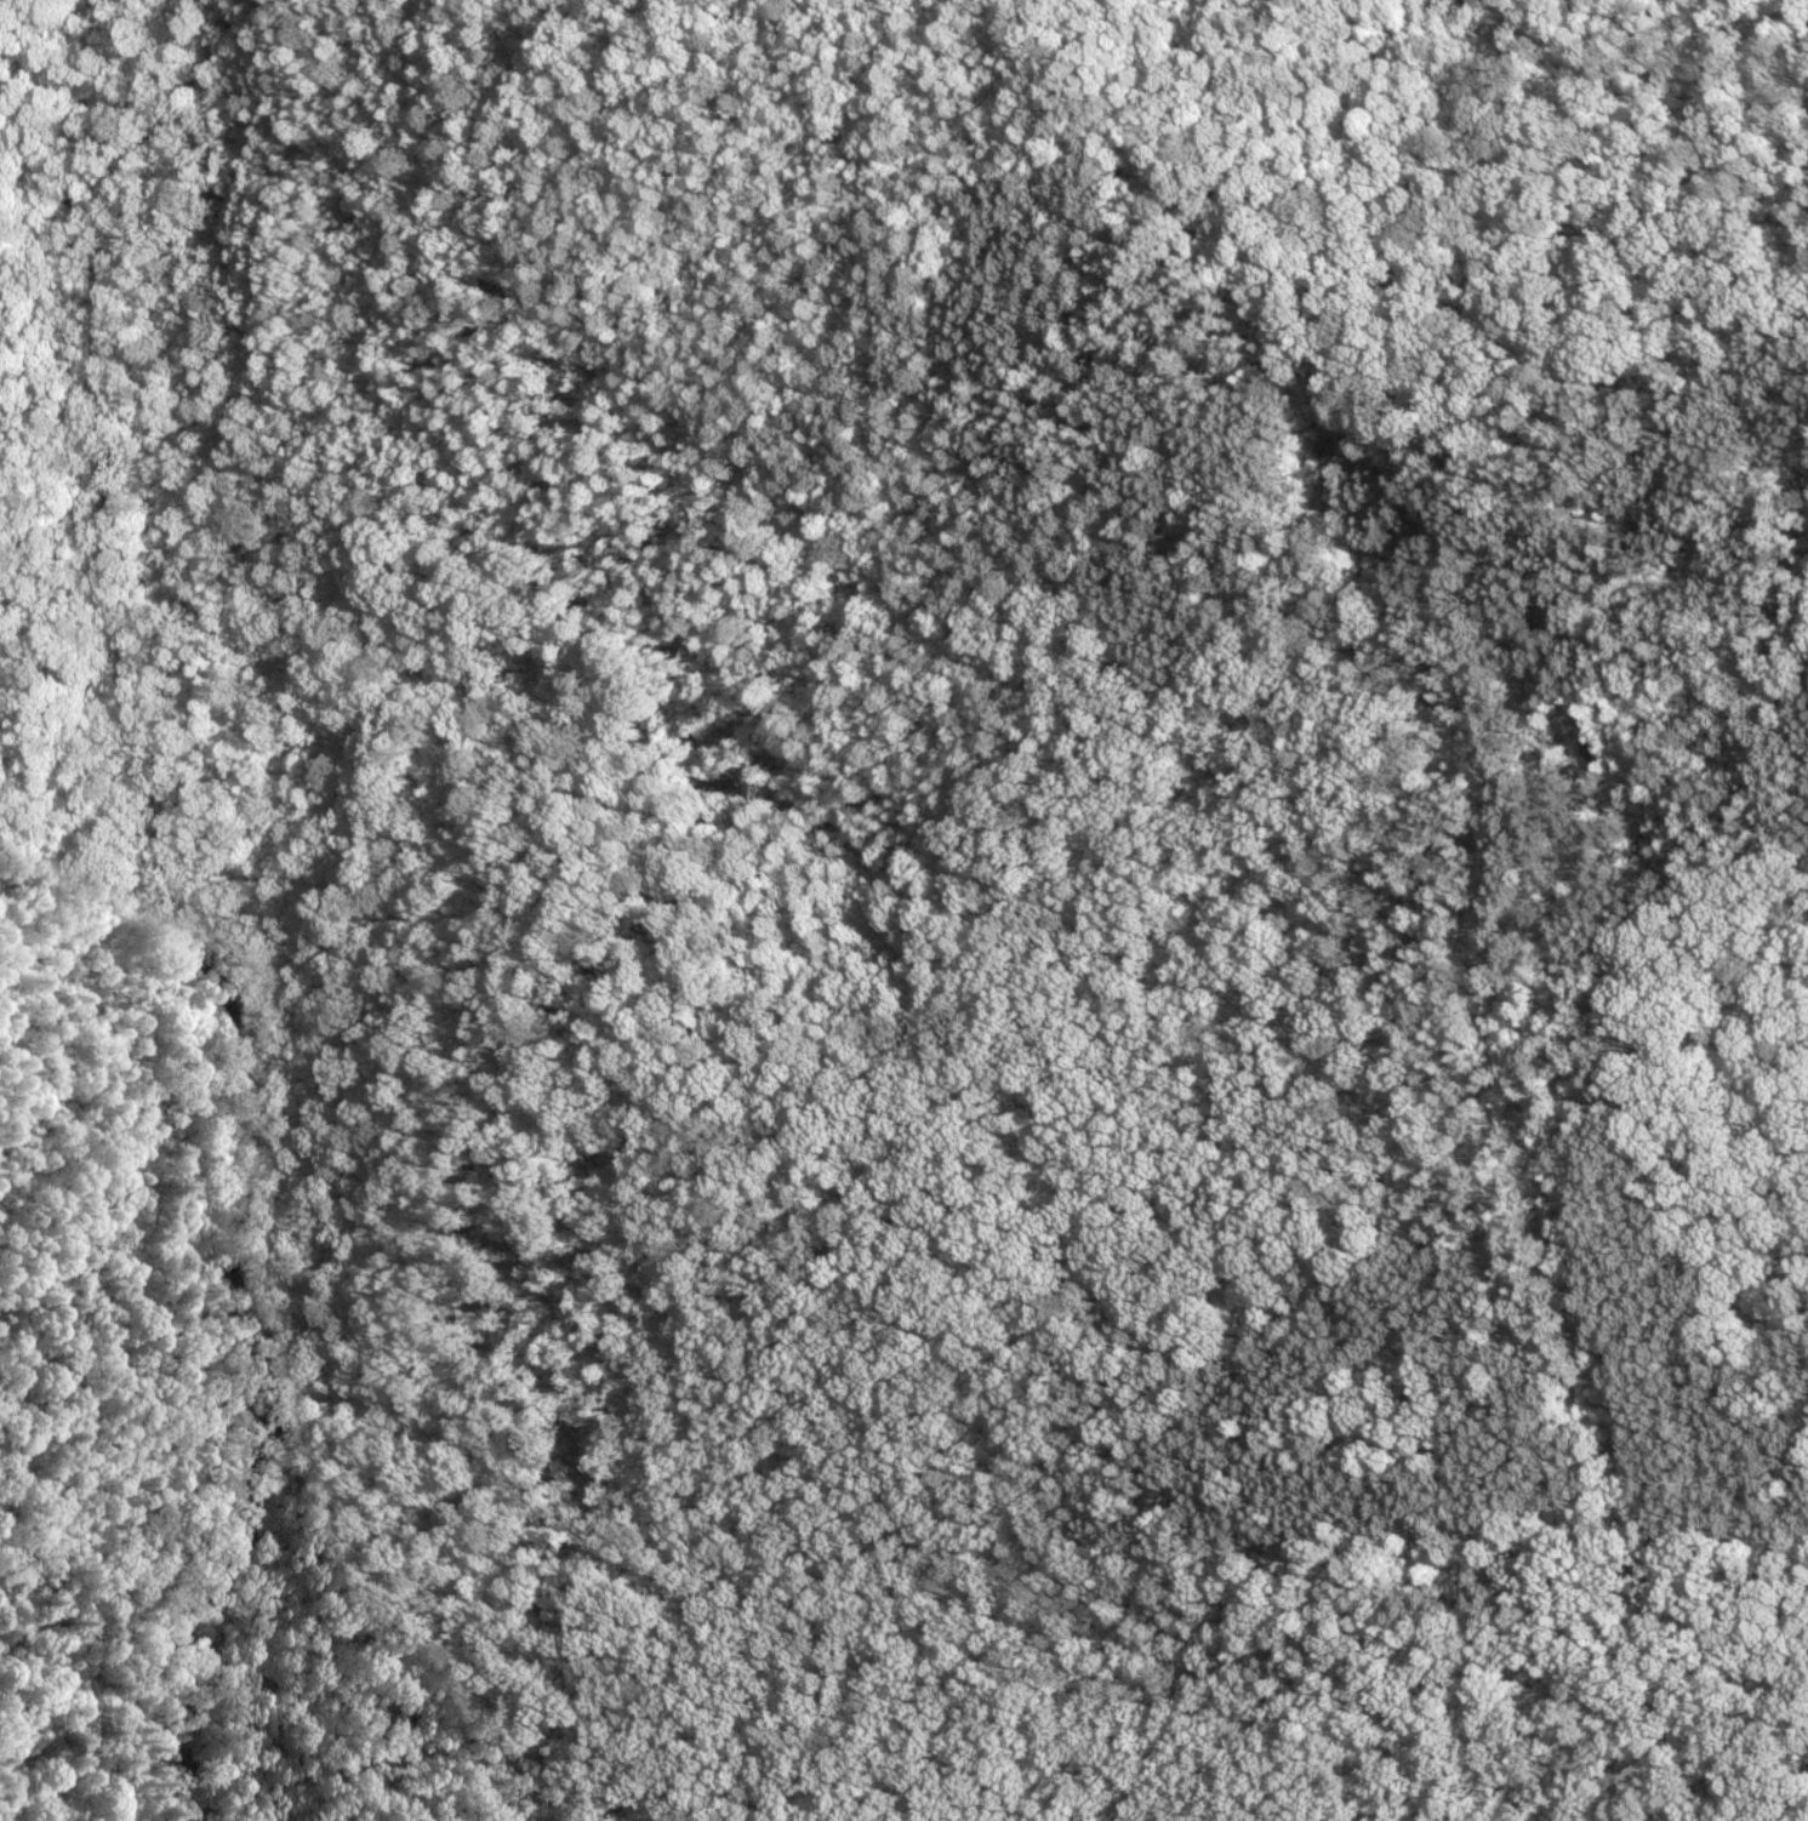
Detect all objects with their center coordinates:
road: (6, 28)
road: (852, 500)
road: (15, 776)
road: (1551, 1178)

